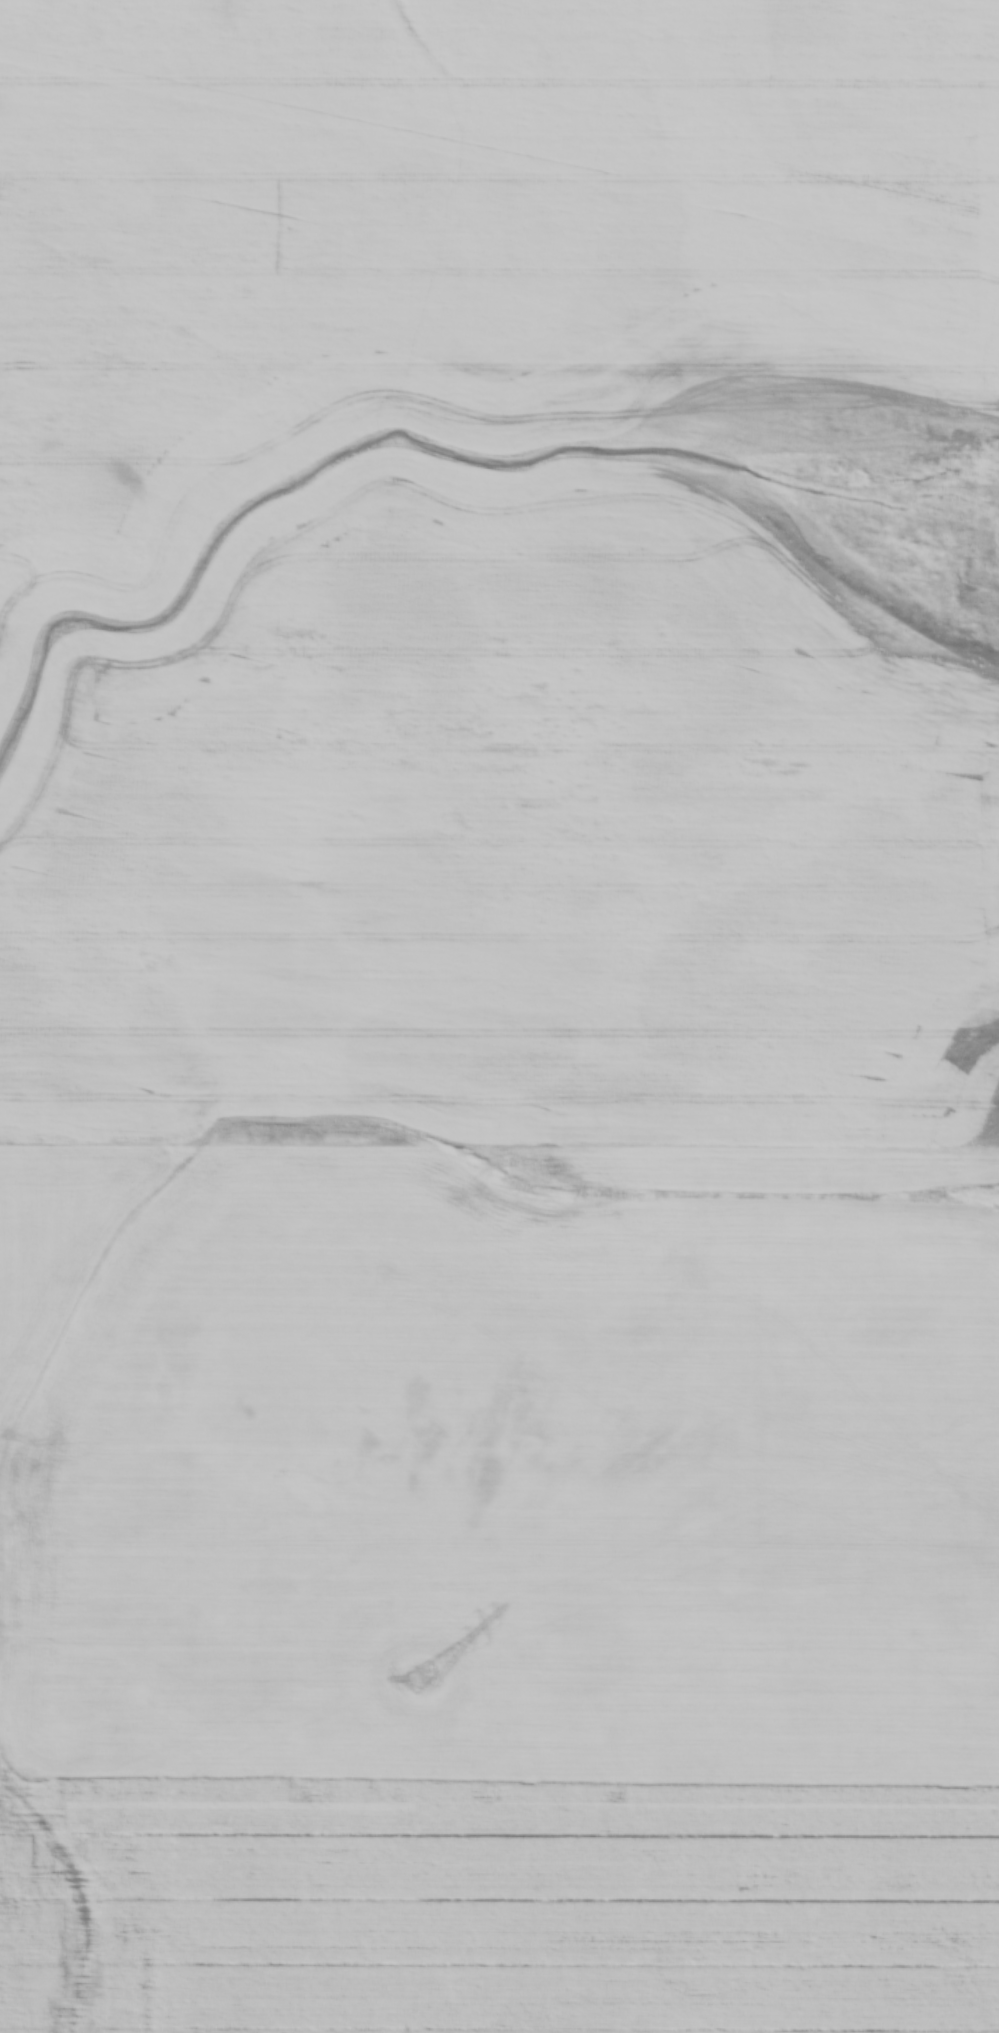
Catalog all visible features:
power tower: (423, 1679)

